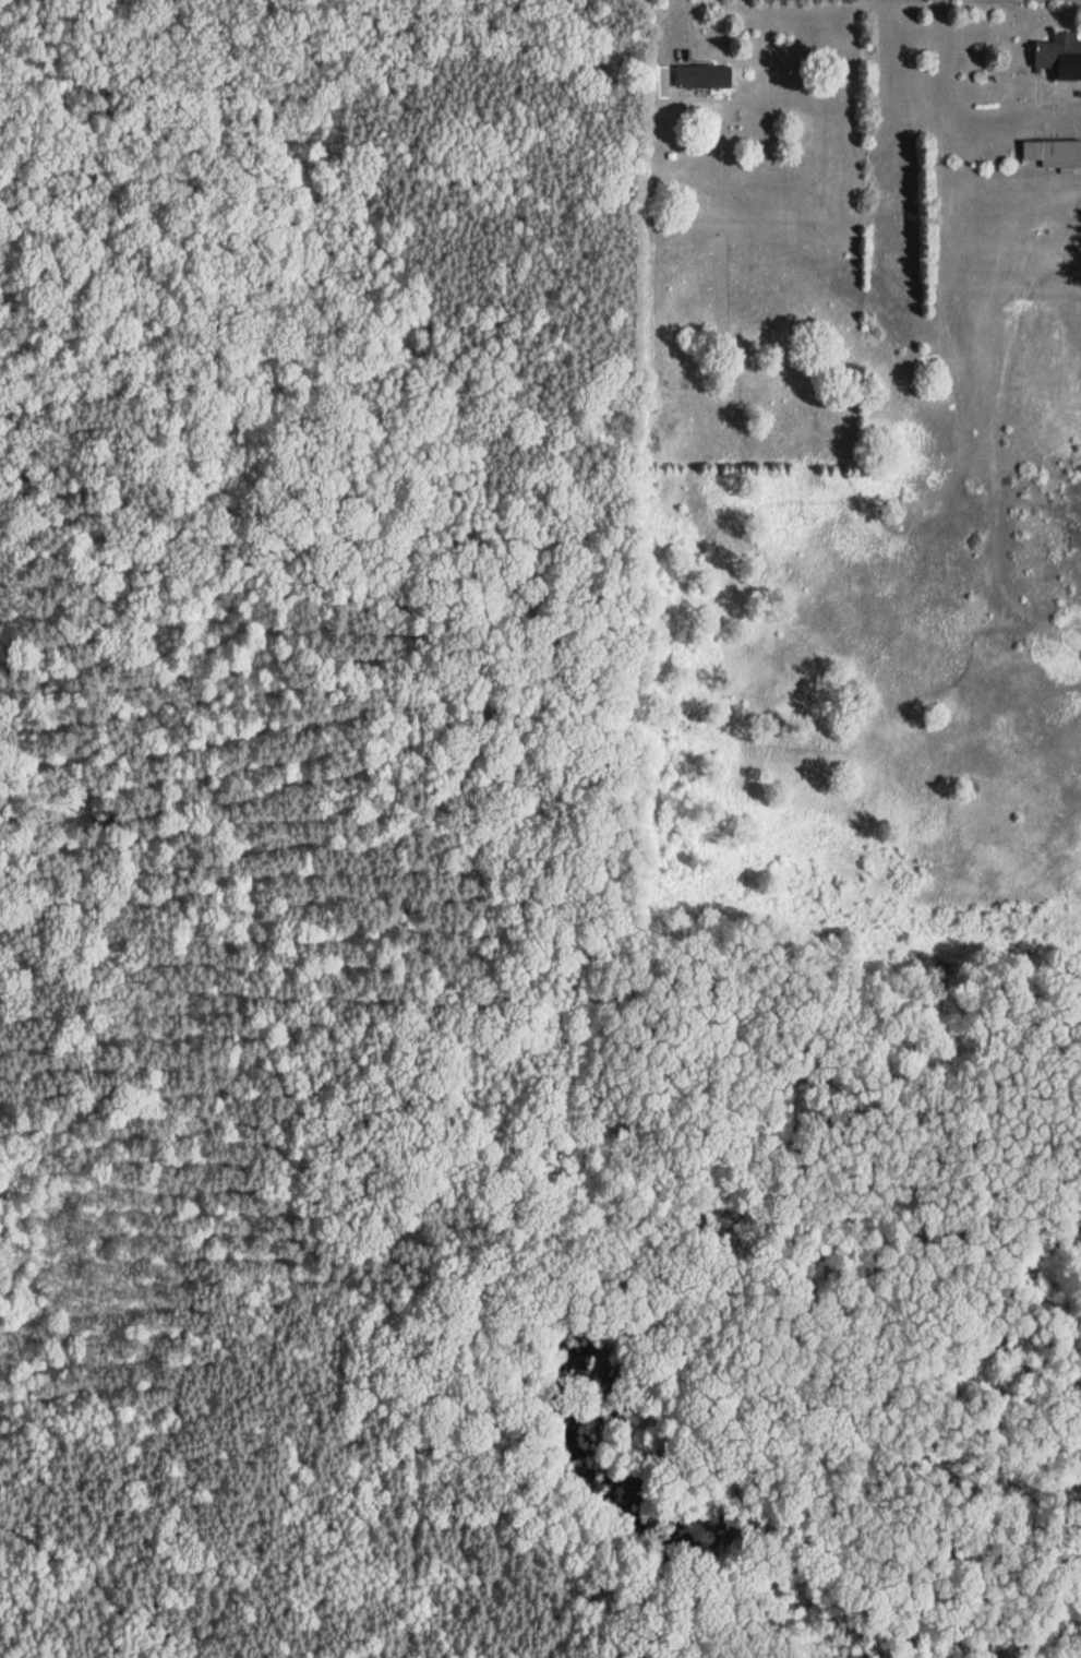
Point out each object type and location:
building: (1061, 55)
building: (706, 75)
building: (1055, 153)
road: (96, 1571)

